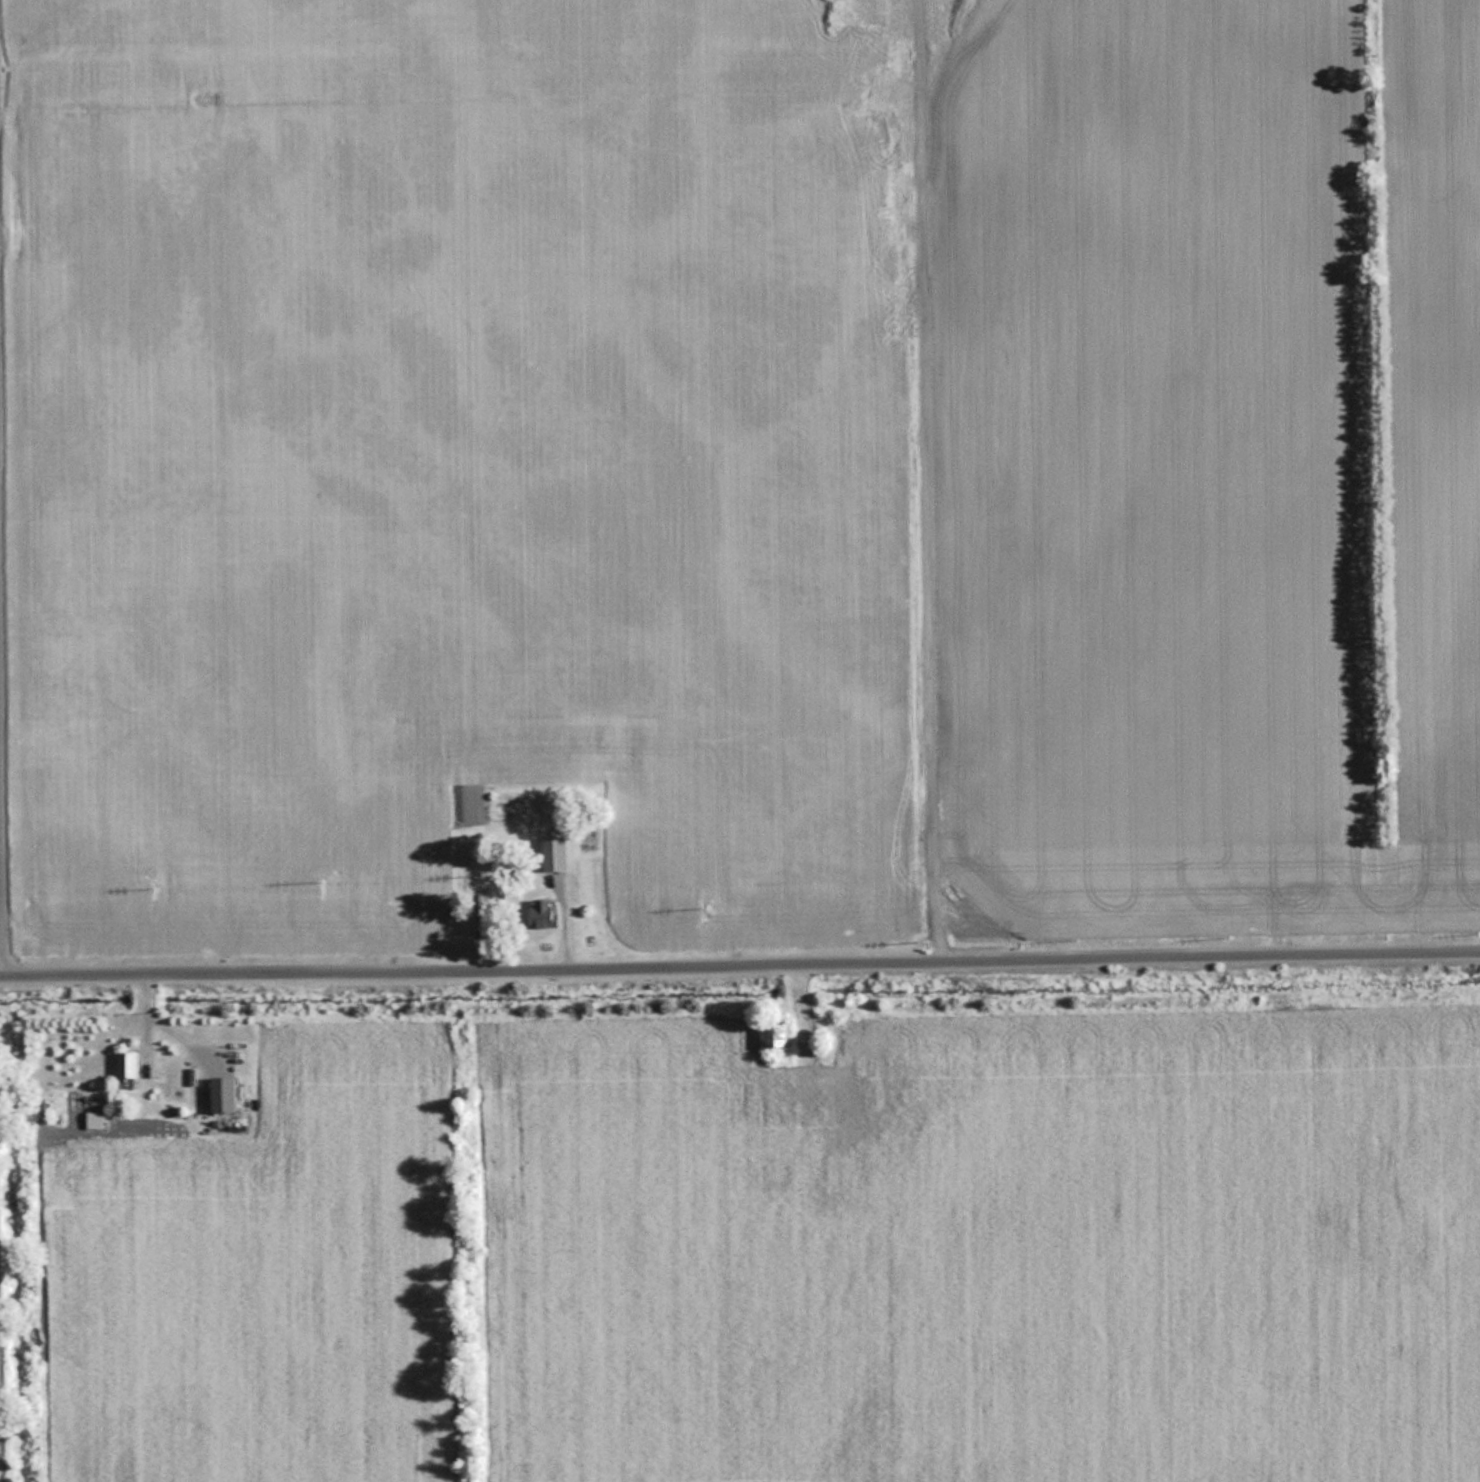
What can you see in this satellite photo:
road: (2, 802)
building: (554, 853)
building: (542, 913)
road: (740, 969)
road: (173, 1031)
building: (777, 1037)
building: (128, 1064)
building: (225, 1094)

